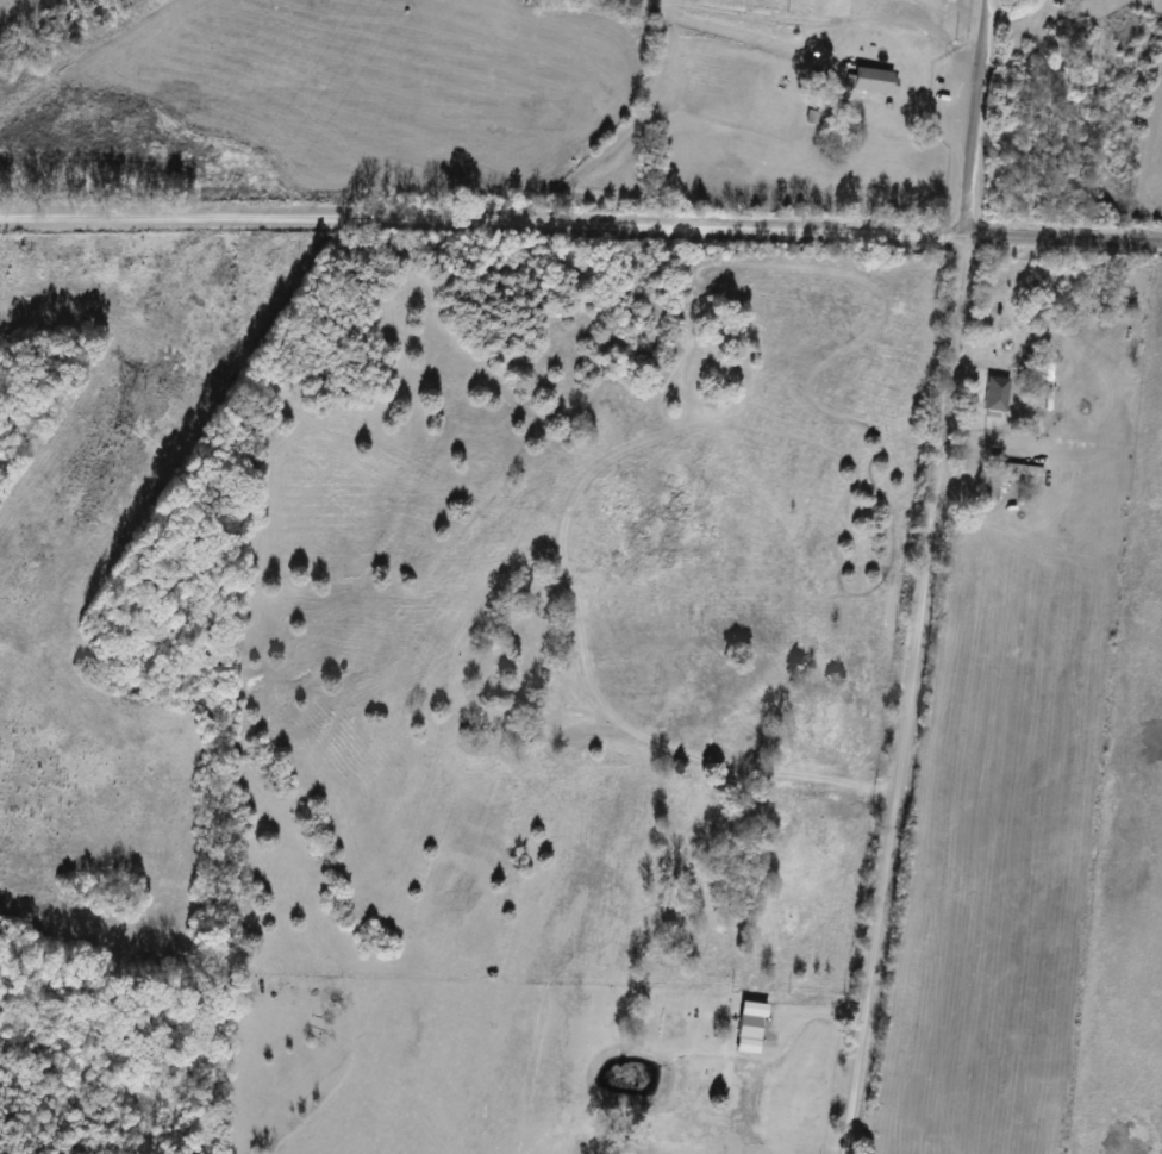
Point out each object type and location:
road: (849, 20)
road: (933, 36)
building: (873, 81)
road: (581, 225)
building: (995, 395)
power tower: (118, 435)
building: (1007, 476)
road: (919, 578)

